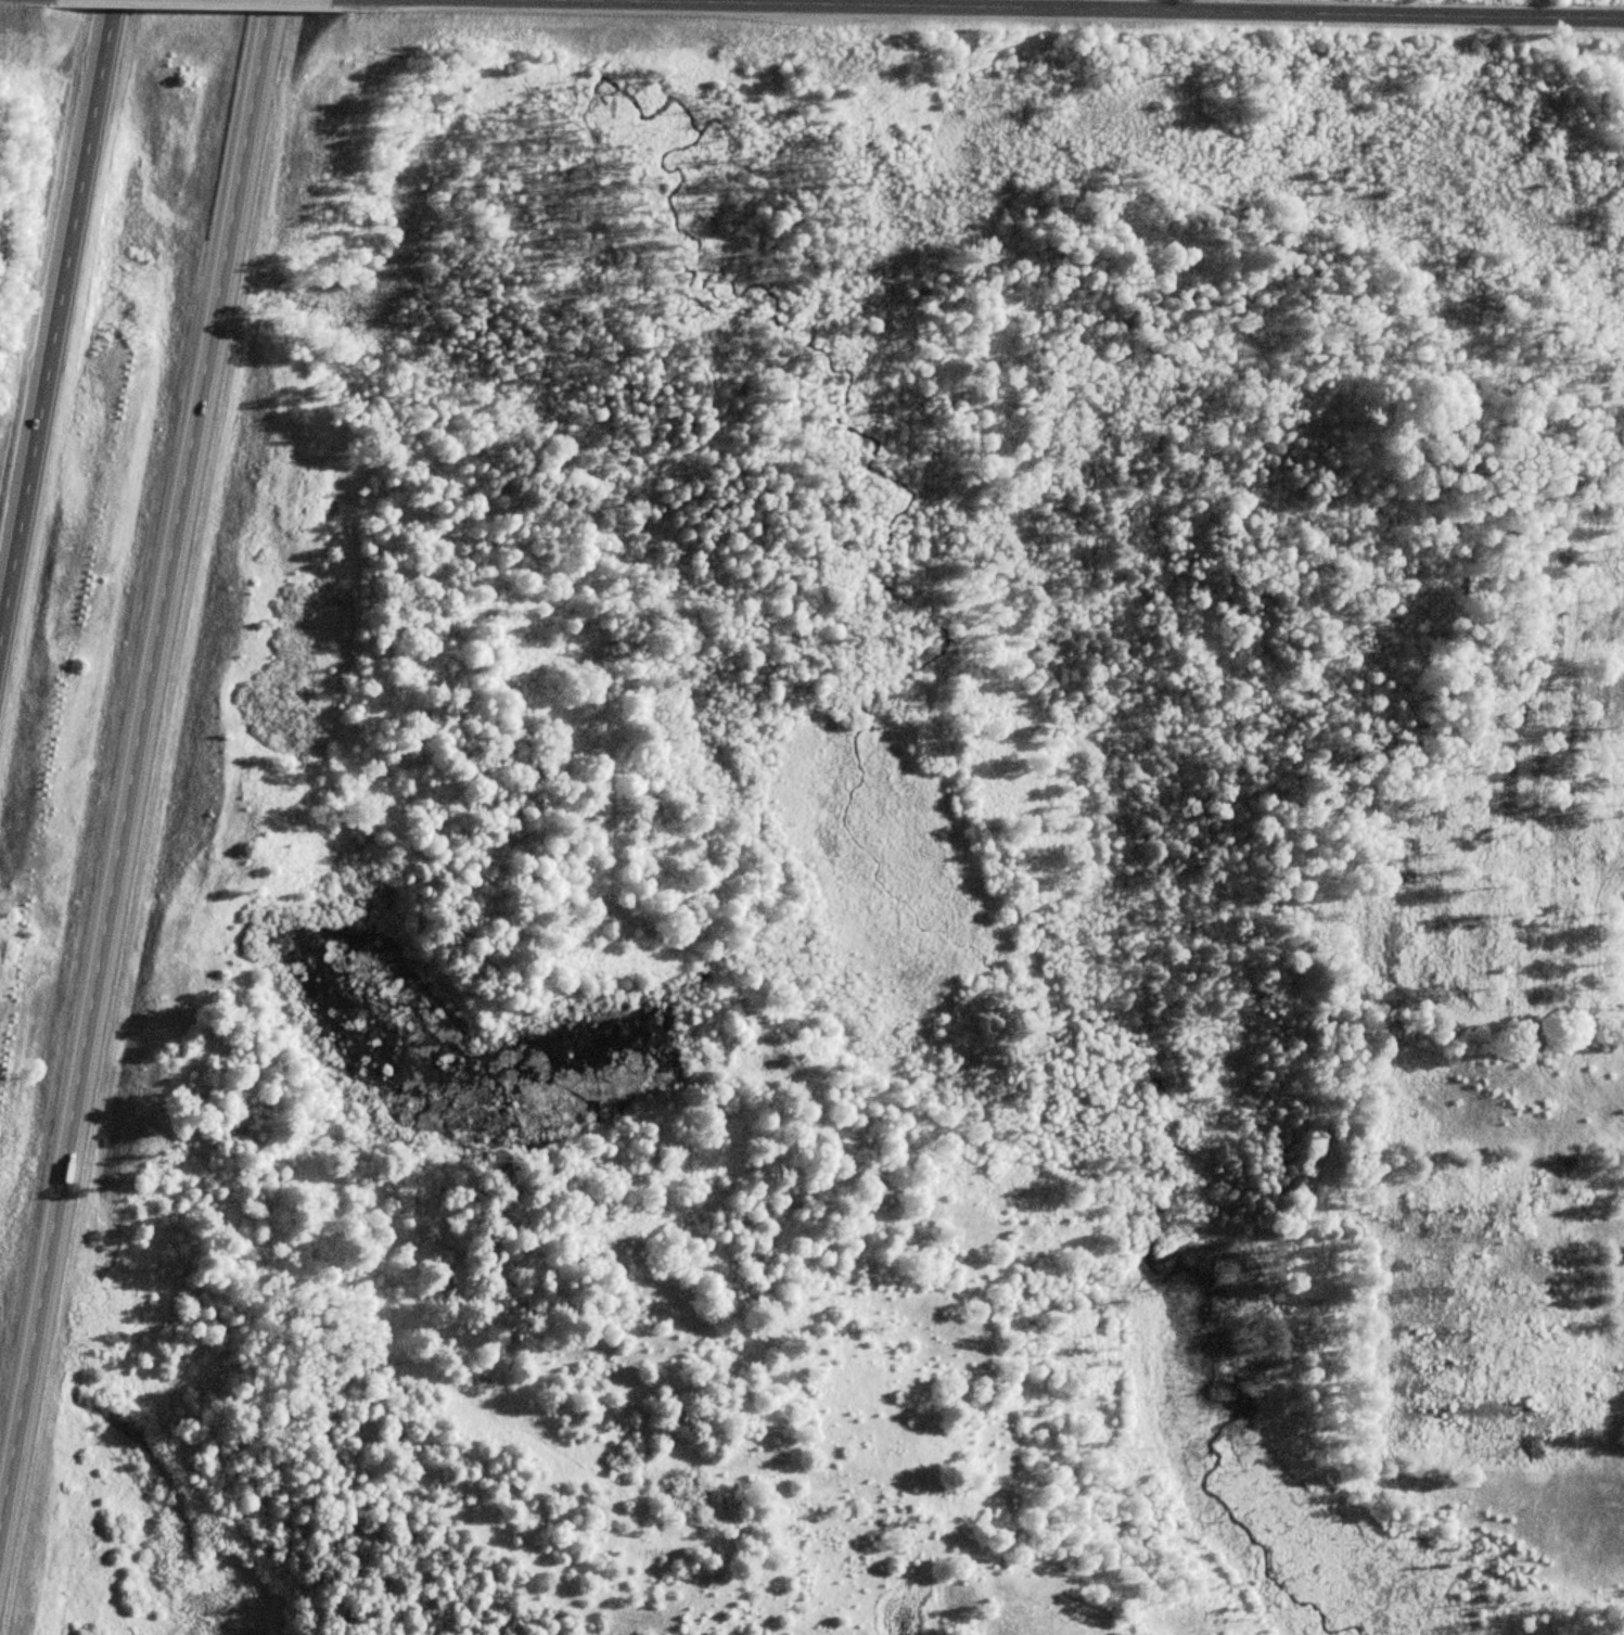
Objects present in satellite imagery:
road: (1012, 9)
road: (55, 318)
road: (130, 757)

